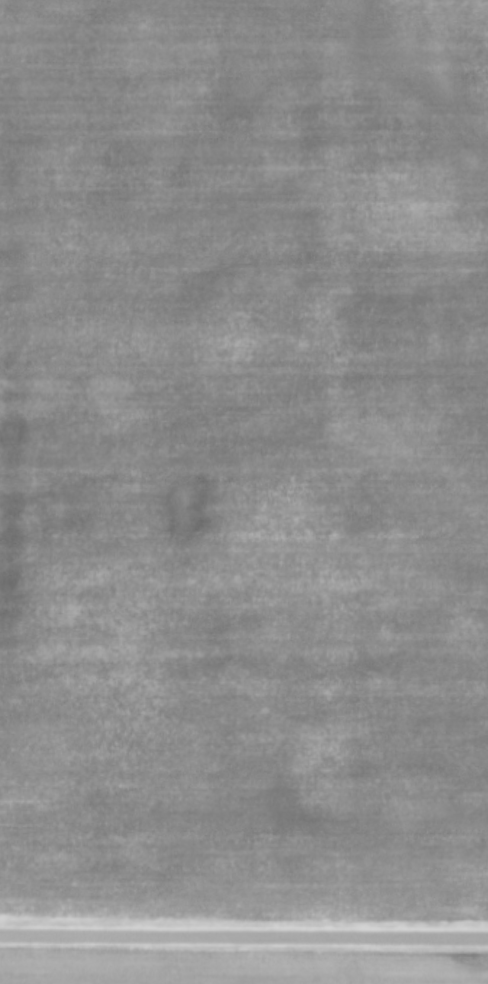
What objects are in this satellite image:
road: (244, 934)

